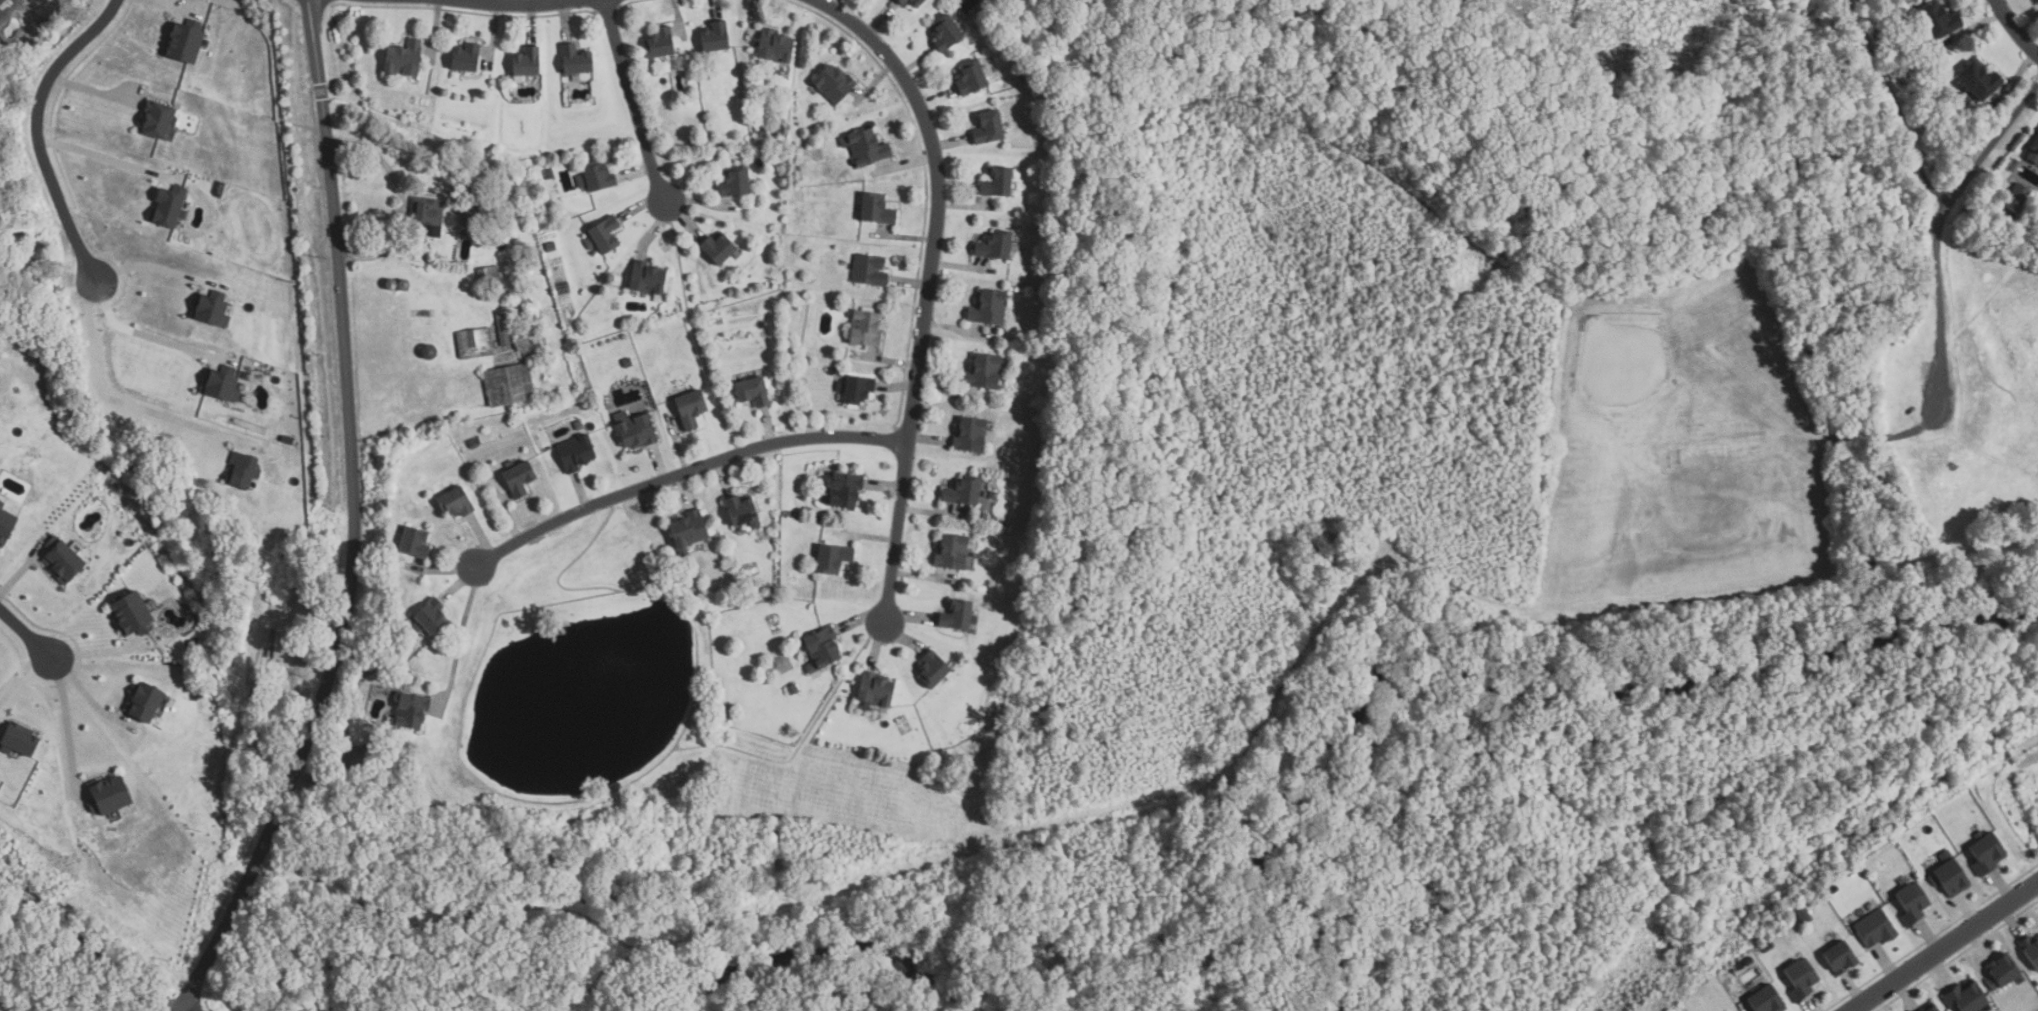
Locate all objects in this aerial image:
road: (479, 2)
building: (899, 2)
building: (913, 3)
road: (506, 4)
building: (3, 8)
building: (1936, 22)
road: (2016, 26)
building: (943, 33)
building: (712, 36)
building: (182, 42)
building: (657, 43)
building: (773, 46)
building: (463, 56)
building: (573, 58)
building: (401, 59)
building: (524, 62)
building: (1022, 75)
building: (970, 78)
building: (1978, 80)
building: (831, 84)
road: (94, 91)
road: (635, 100)
building: (157, 122)
building: (987, 127)
road: (37, 133)
building: (760, 133)
building: (863, 146)
building: (2034, 146)
road: (105, 157)
building: (548, 173)
building: (594, 177)
building: (995, 182)
building: (733, 183)
road: (401, 198)
building: (2015, 198)
building: (166, 206)
building: (873, 209)
building: (469, 211)
building: (426, 212)
road: (1937, 230)
building: (601, 235)
building: (550, 246)
building: (992, 246)
building: (715, 248)
road: (158, 269)
building: (866, 270)
building: (488, 276)
building: (645, 279)
building: (390, 285)
silo: (390, 285)
building: (403, 285)
silo: (403, 285)
road: (928, 289)
building: (987, 307)
building: (209, 309)
building: (528, 315)
building: (424, 322)
building: (503, 326)
building: (862, 329)
road: (144, 336)
building: (473, 344)
building: (428, 351)
silo: (428, 351)
building: (981, 373)
building: (219, 383)
building: (507, 385)
building: (853, 389)
building: (750, 391)
road: (120, 401)
building: (689, 409)
building: (634, 429)
building: (968, 435)
building: (286, 440)
building: (472, 443)
building: (574, 452)
building: (240, 470)
road: (684, 473)
building: (517, 479)
building: (842, 490)
building: (961, 492)
building: (453, 503)
building: (740, 512)
road: (353, 522)
building: (4, 524)
building: (686, 532)
building: (412, 543)
building: (949, 552)
building: (830, 559)
building: (59, 560)
building: (128, 614)
building: (956, 616)
building: (428, 617)
road: (455, 630)
road: (26, 634)
building: (281, 640)
building: (820, 648)
road: (98, 652)
building: (932, 669)
building: (792, 690)
building: (873, 690)
road: (84, 692)
building: (141, 702)
building: (408, 711)
road: (62, 714)
building: (15, 742)
building: (105, 796)
building: (1985, 853)
building: (1949, 879)
building: (1911, 903)
building: (1802, 916)
building: (1873, 928)
road: (89, 944)
road: (1944, 946)
building: (1765, 947)
building: (2030, 950)
building: (1838, 958)
building: (1747, 961)
building: (2003, 971)
building: (1800, 979)
building: (2036, 983)
building: (1966, 998)
building: (1764, 1000)
road: (11, 1004)
road: (186, 1007)
building: (1929, 1008)

